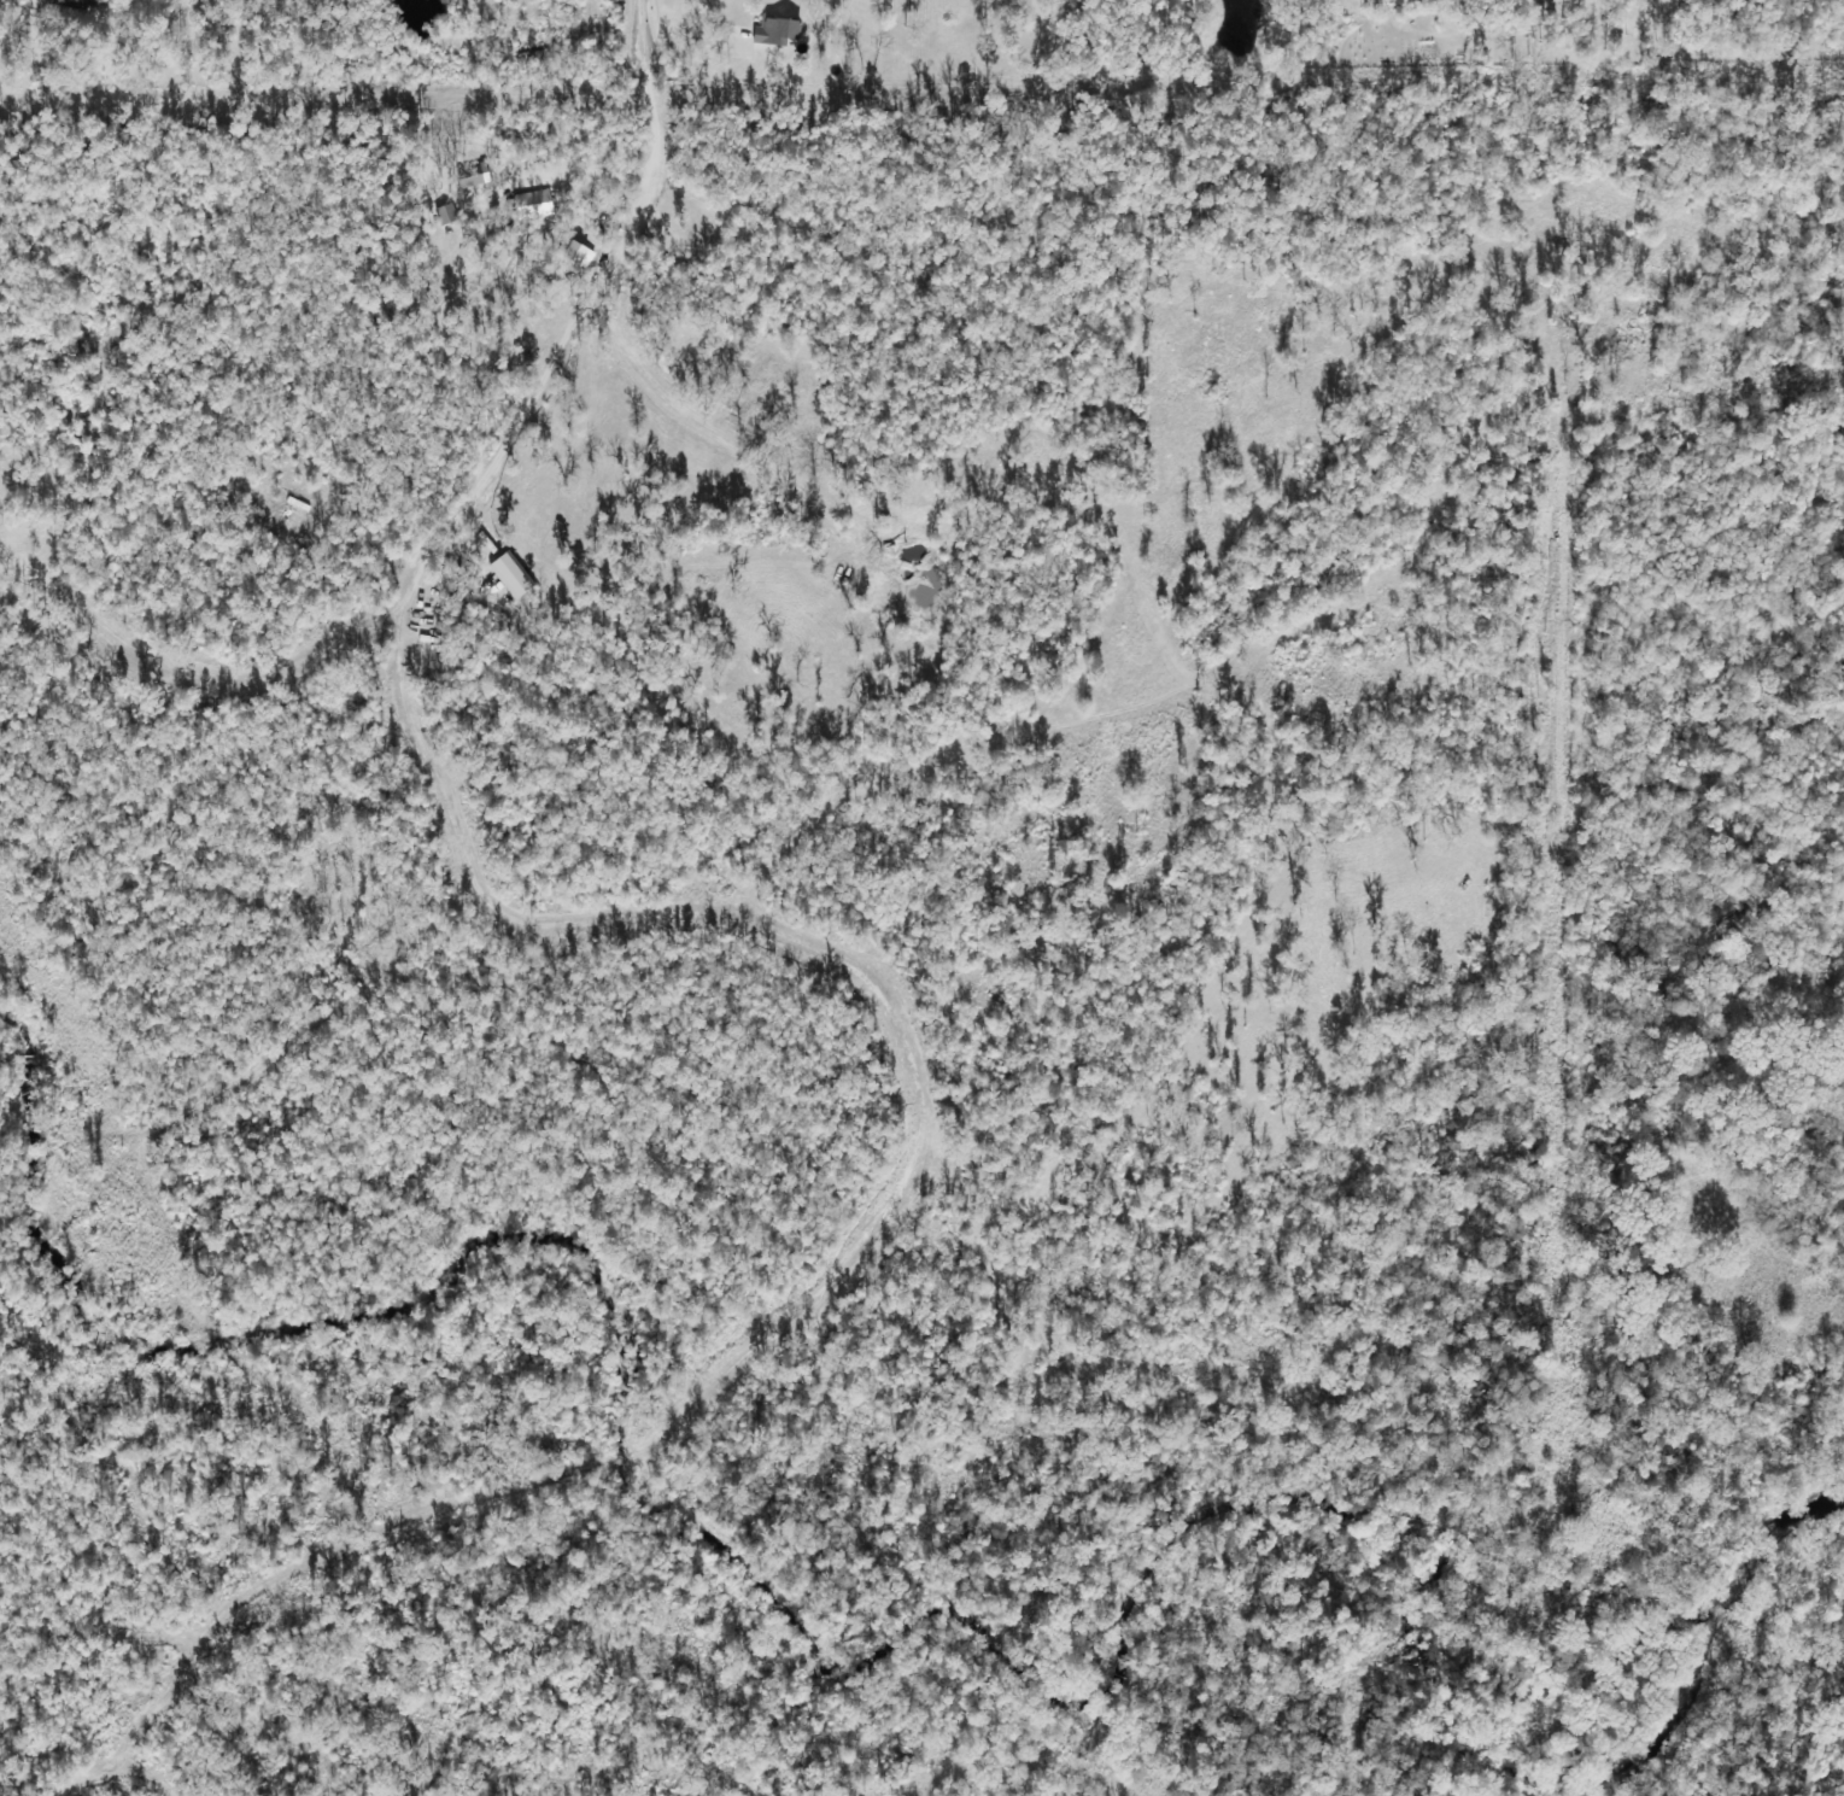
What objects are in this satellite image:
building: (82, 2)
building: (775, 31)
road: (681, 51)
building: (535, 205)
building: (515, 575)

